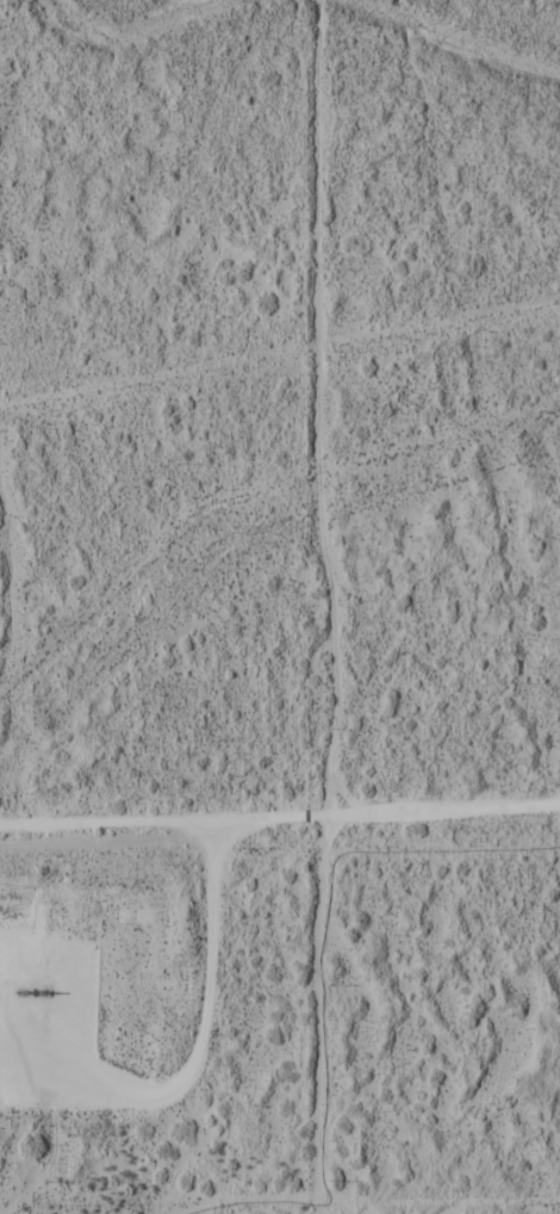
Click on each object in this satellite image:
road: (280, 816)
road: (192, 1051)

